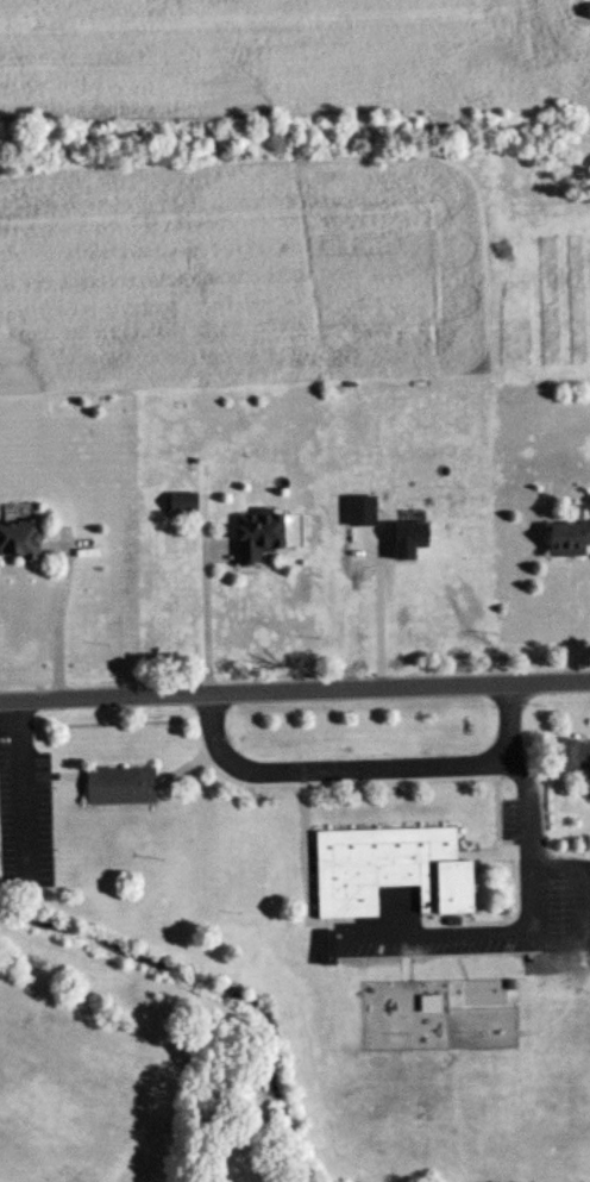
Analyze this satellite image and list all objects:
building: (181, 502)
building: (256, 536)
building: (566, 538)
building: (18, 539)
road: (357, 607)
road: (205, 612)
road: (57, 624)
road: (295, 688)
building: (573, 757)
road: (366, 768)
building: (117, 786)
building: (387, 870)
road: (532, 926)
building: (325, 948)

